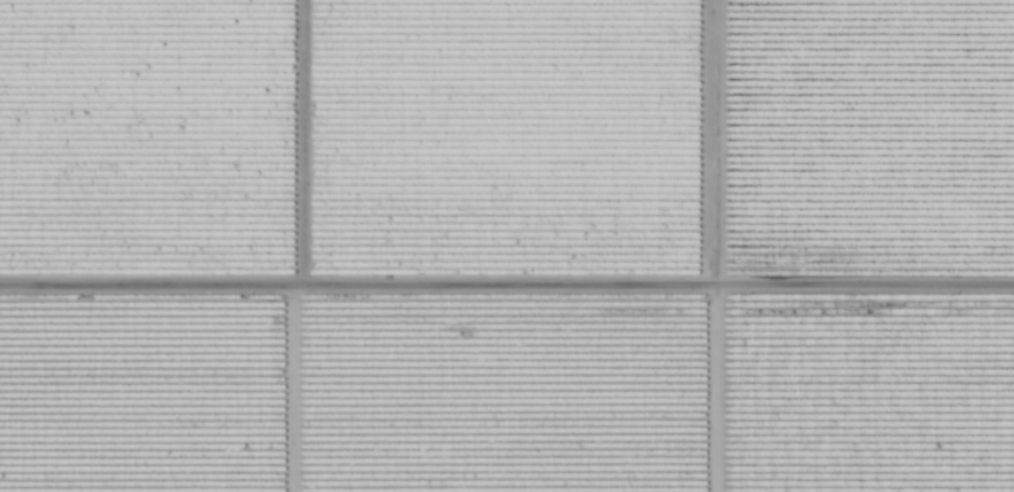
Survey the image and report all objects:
crop: (507, 246)
road: (507, 295)

